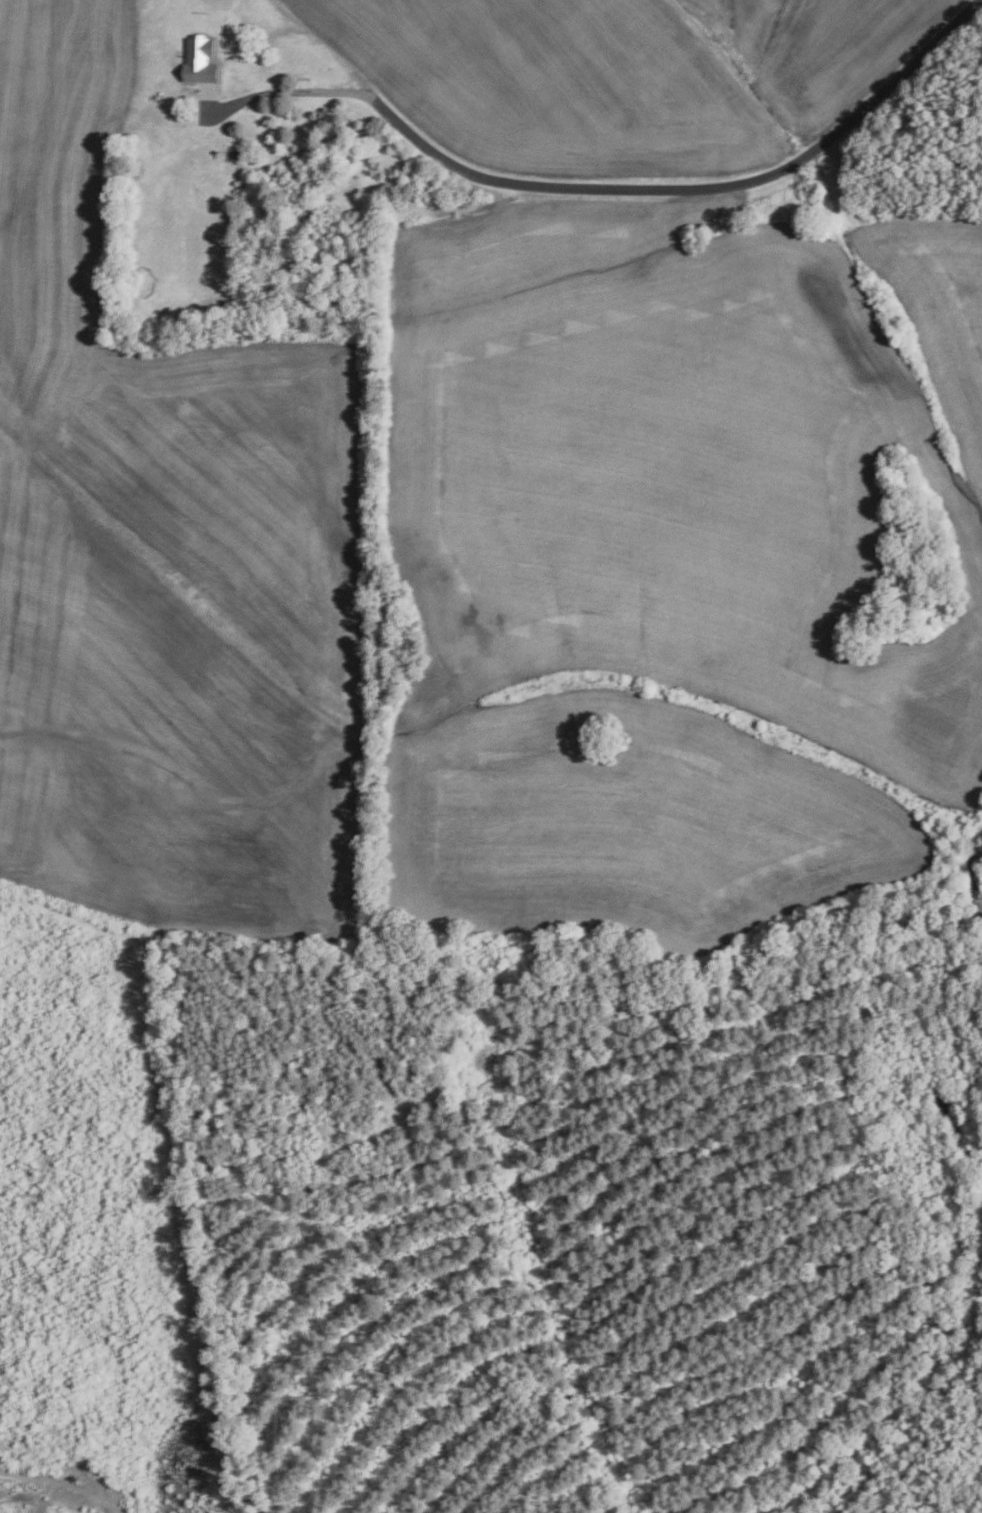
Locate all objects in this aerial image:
building: (202, 60)
crop: (624, 73)
road: (283, 92)
road: (690, 189)
building: (394, 202)
crop: (168, 563)

